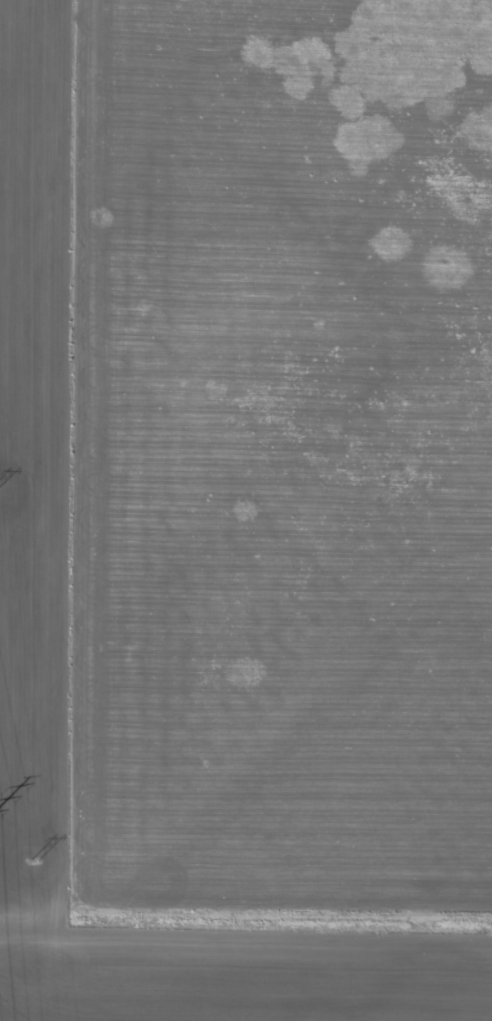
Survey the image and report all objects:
power tower: (34, 859)

